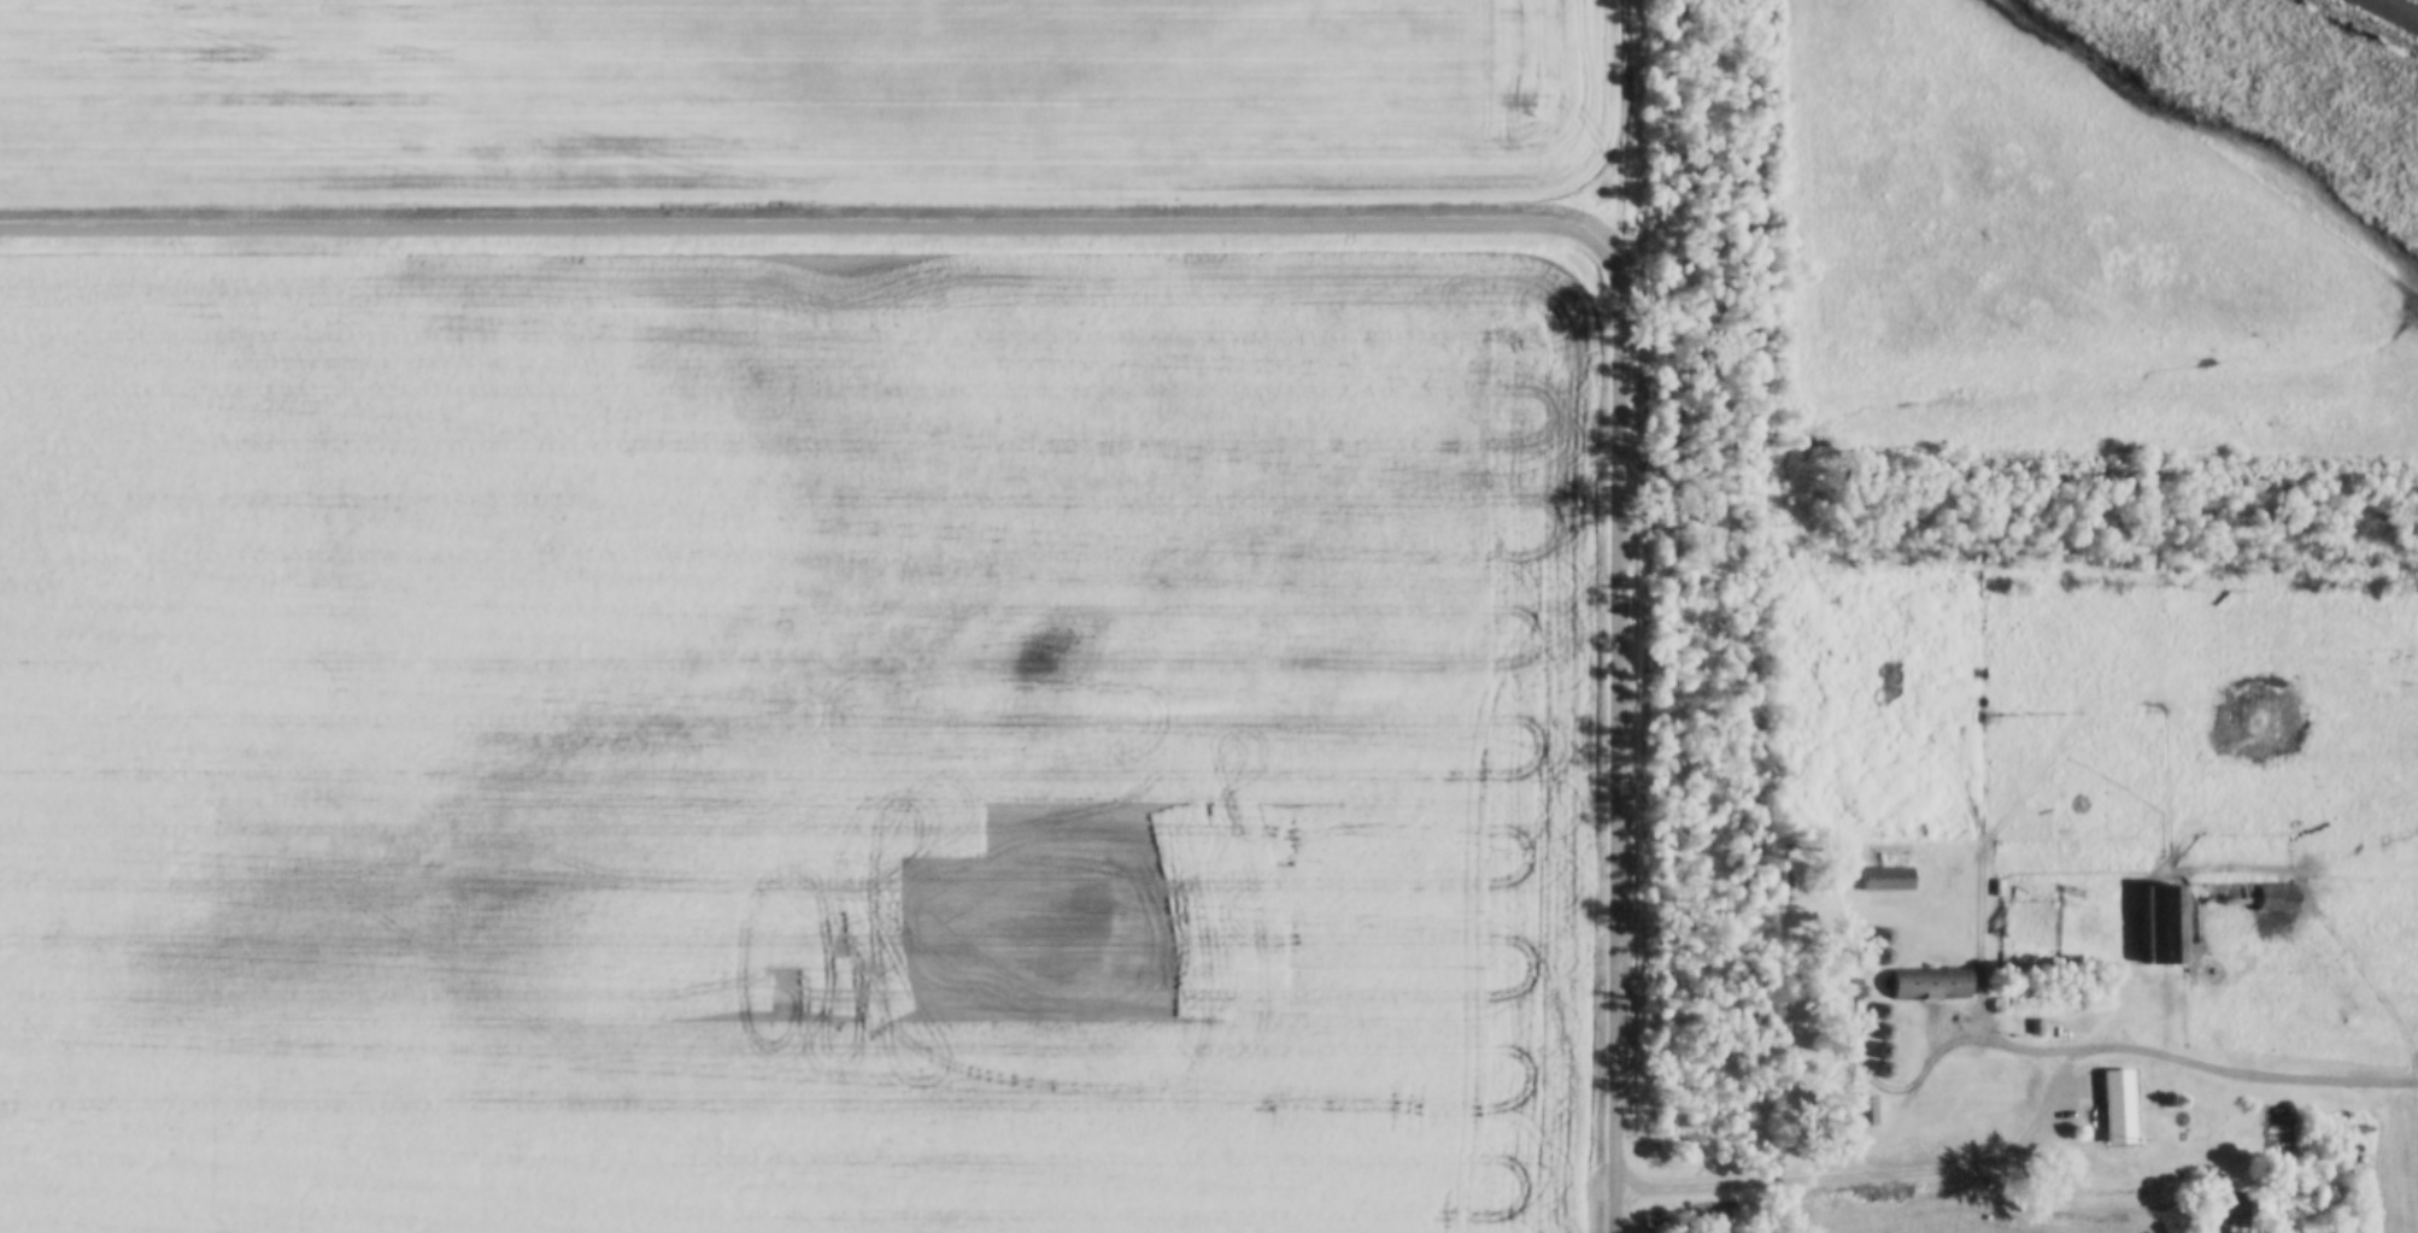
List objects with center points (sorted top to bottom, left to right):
railway: (2394, 11)
road: (1627, 111)
road: (811, 222)
road: (1620, 704)
building: (1886, 881)
building: (2165, 940)
building: (1930, 986)
road: (2243, 1068)
building: (2117, 1109)
building: (1864, 1114)
road: (1876, 1170)
road: (1620, 1210)

